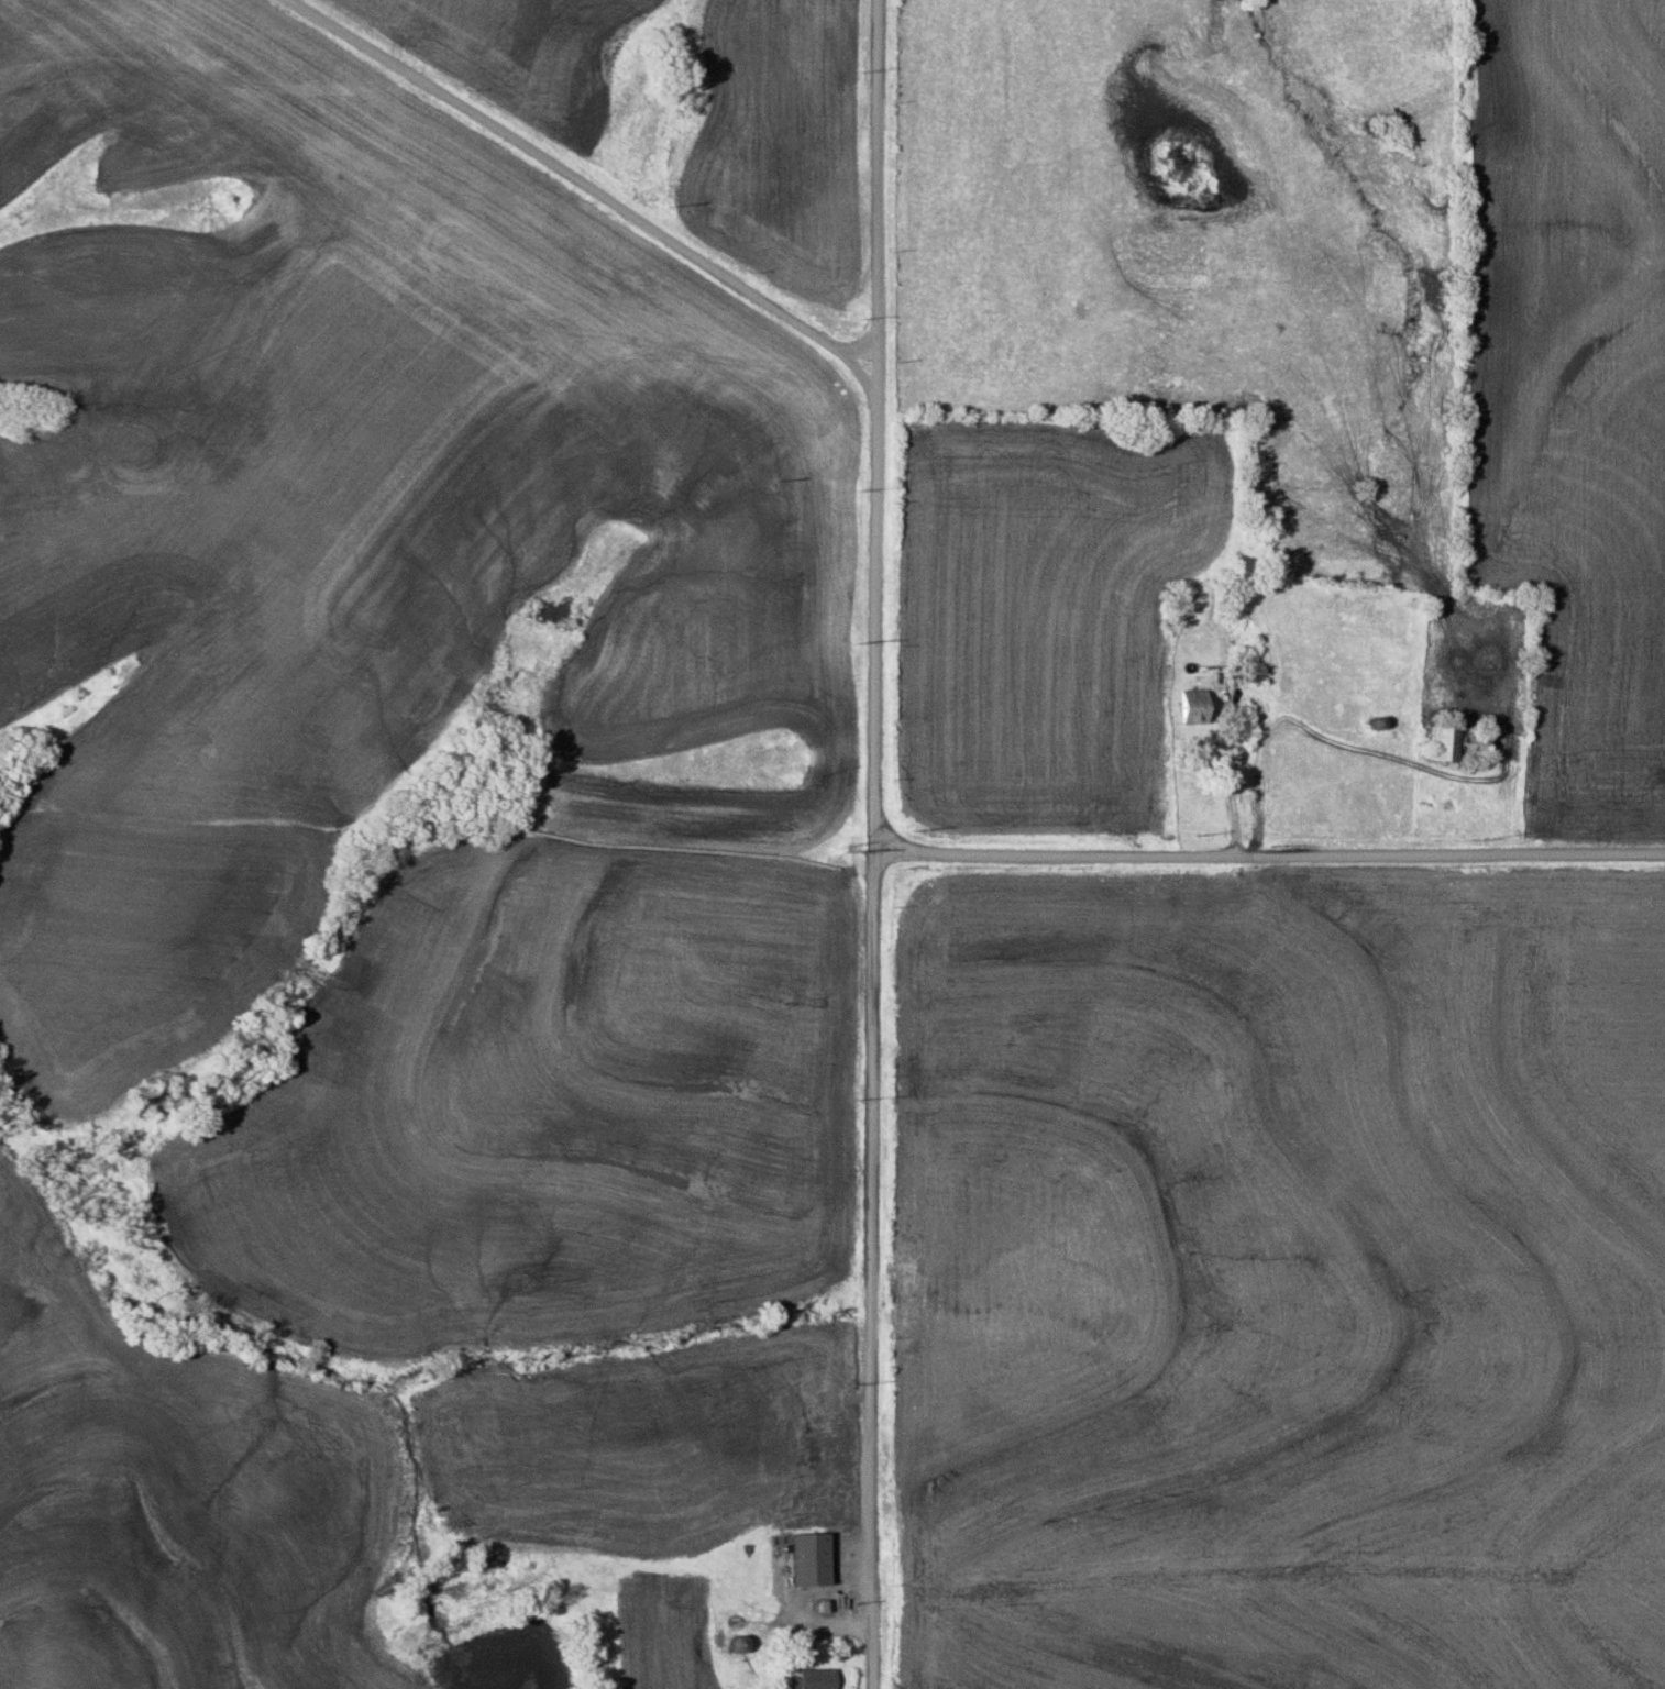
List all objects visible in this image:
road: (598, 188)
building: (1188, 706)
building: (1375, 722)
building: (1453, 744)
road: (875, 844)
road: (1270, 854)
building: (804, 1559)
building: (807, 1679)

